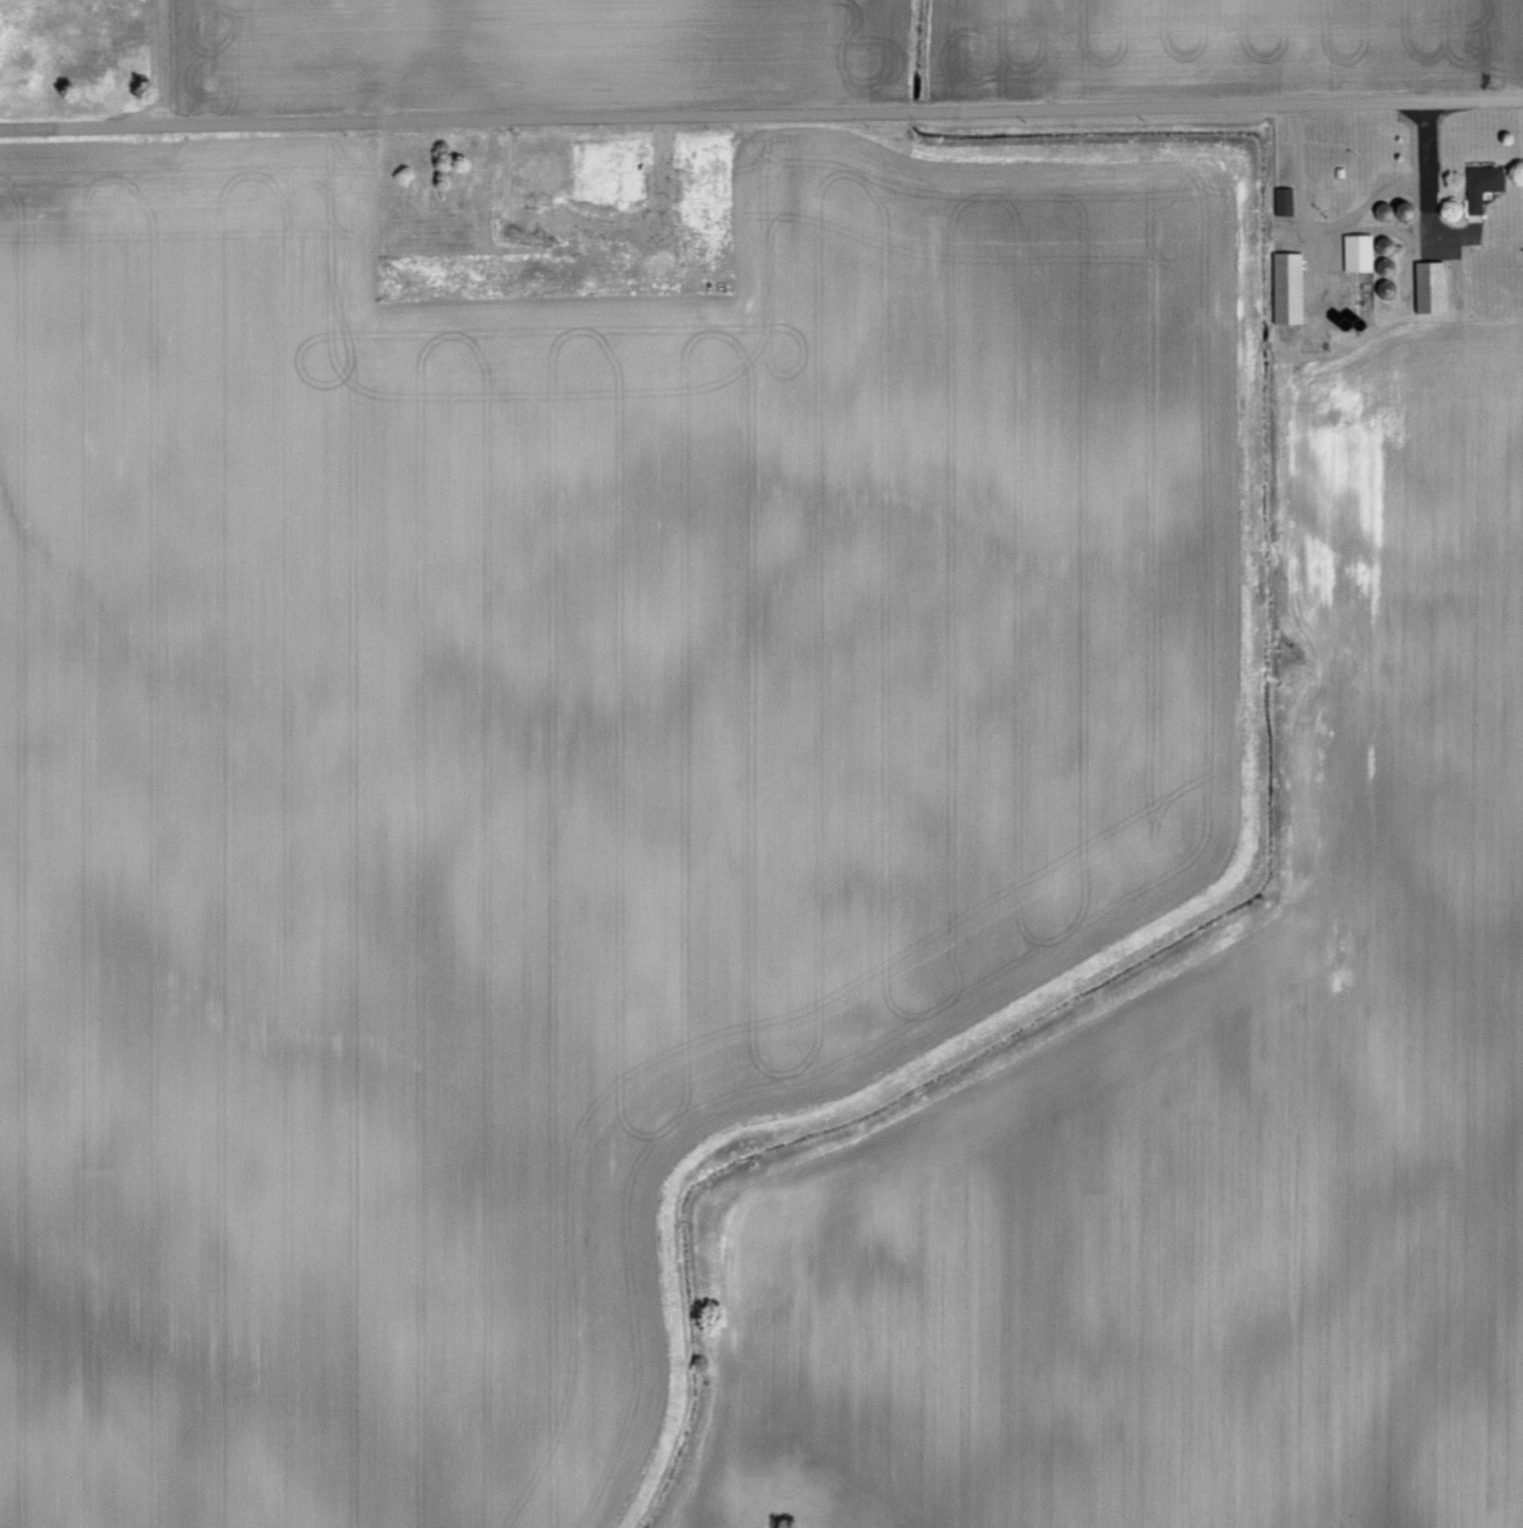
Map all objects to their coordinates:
building: (420, 16)
building: (315, 48)
road: (761, 116)
building: (486, 179)
building: (1485, 185)
building: (1286, 201)
road: (1344, 226)
road: (1413, 237)
building: (1361, 252)
building: (1431, 286)
building: (1290, 288)

